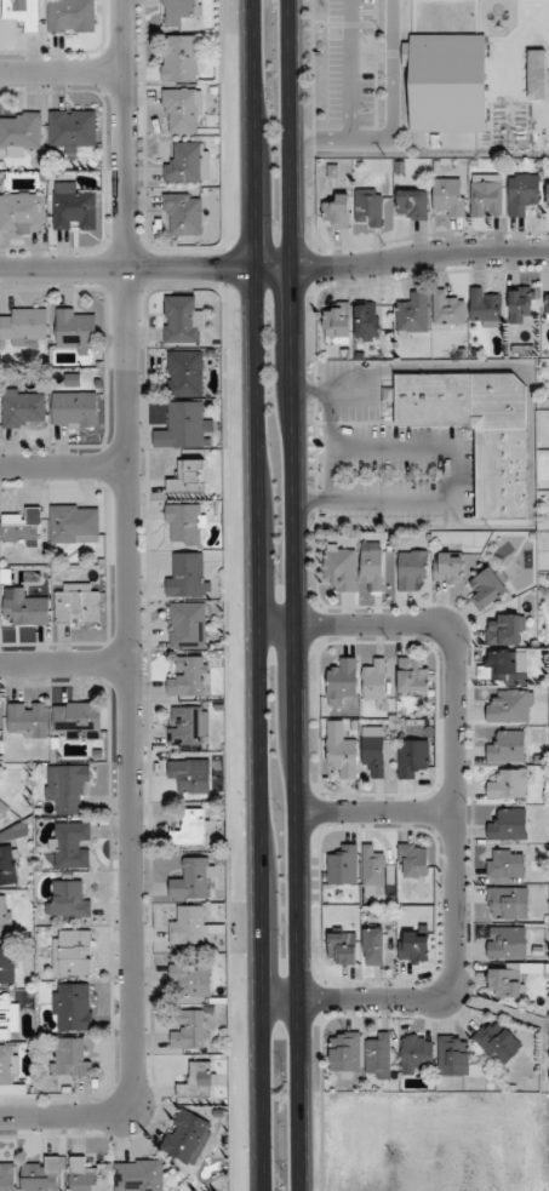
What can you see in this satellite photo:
building: (22, 12)
building: (181, 12)
building: (72, 15)
building: (179, 58)
road: (61, 73)
building: (446, 81)
road: (391, 86)
road: (350, 97)
building: (182, 108)
building: (72, 130)
building: (21, 132)
building: (188, 162)
building: (522, 193)
building: (548, 193)
building: (486, 195)
building: (450, 196)
building: (412, 204)
building: (368, 206)
building: (73, 207)
building: (22, 211)
building: (337, 212)
building: (183, 213)
road: (274, 267)
building: (521, 303)
building: (547, 303)
building: (485, 307)
building: (447, 309)
building: (413, 313)
building: (182, 320)
building: (337, 320)
building: (367, 320)
building: (23, 327)
building: (75, 330)
building: (184, 372)
building: (23, 407)
building: (74, 410)
building: (188, 423)
building: (477, 429)
road: (453, 462)
road: (64, 466)
building: (189, 477)
building: (74, 523)
building: (185, 523)
building: (22, 527)
building: (341, 566)
building: (371, 566)
building: (447, 567)
building: (411, 568)
building: (185, 574)
building: (488, 586)
road: (258, 595)
road: (297, 595)
building: (76, 602)
building: (23, 608)
road: (128, 622)
building: (188, 624)
building: (507, 630)
road: (64, 663)
building: (502, 666)
building: (189, 675)
building: (414, 677)
building: (374, 681)
building: (342, 682)
building: (510, 706)
building: (27, 720)
building: (76, 720)
building: (188, 725)
building: (507, 746)
building: (342, 749)
building: (373, 749)
building: (412, 756)
building: (190, 775)
building: (509, 784)
building: (67, 786)
building: (2, 808)
road: (456, 809)
road: (377, 812)
building: (508, 824)
building: (193, 828)
building: (72, 844)
building: (413, 859)
building: (505, 863)
building: (8, 865)
building: (343, 866)
building: (372, 866)
building: (194, 878)
building: (68, 899)
building: (507, 903)
building: (5, 915)
building: (188, 924)
building: (507, 941)
building: (373, 945)
building: (413, 946)
building: (342, 947)
building: (72, 952)
building: (7, 964)
building: (191, 979)
building: (505, 983)
building: (72, 1007)
building: (7, 1017)
building: (189, 1030)
building: (497, 1041)
building: (344, 1050)
building: (417, 1053)
building: (453, 1055)
building: (69, 1057)
building: (378, 1057)
building: (7, 1064)
building: (198, 1080)
building: (187, 1138)
building: (41, 1174)
building: (138, 1174)
building: (87, 1176)
building: (6, 1178)

